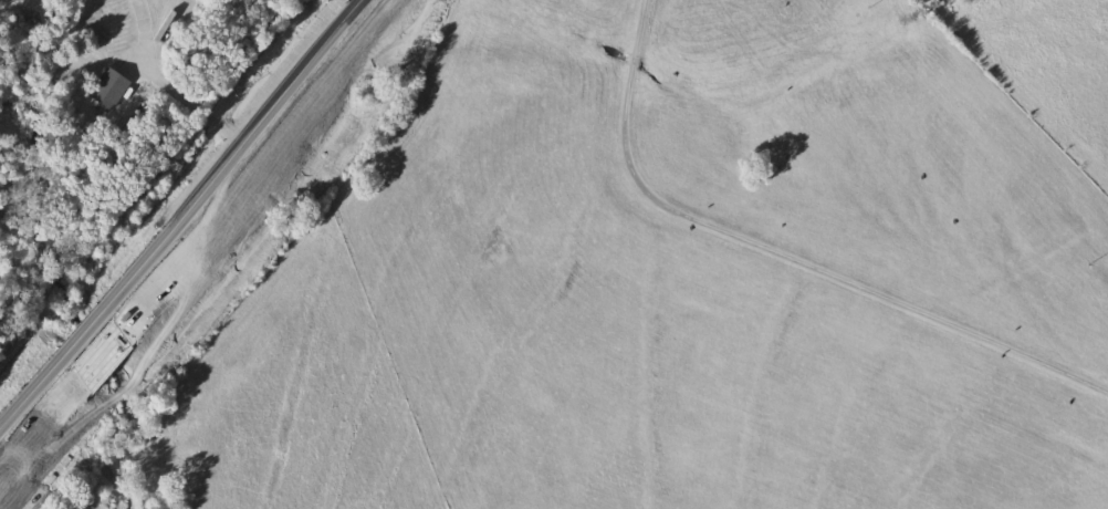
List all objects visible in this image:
road: (180, 84)
building: (112, 85)
road: (192, 216)
road: (793, 241)

